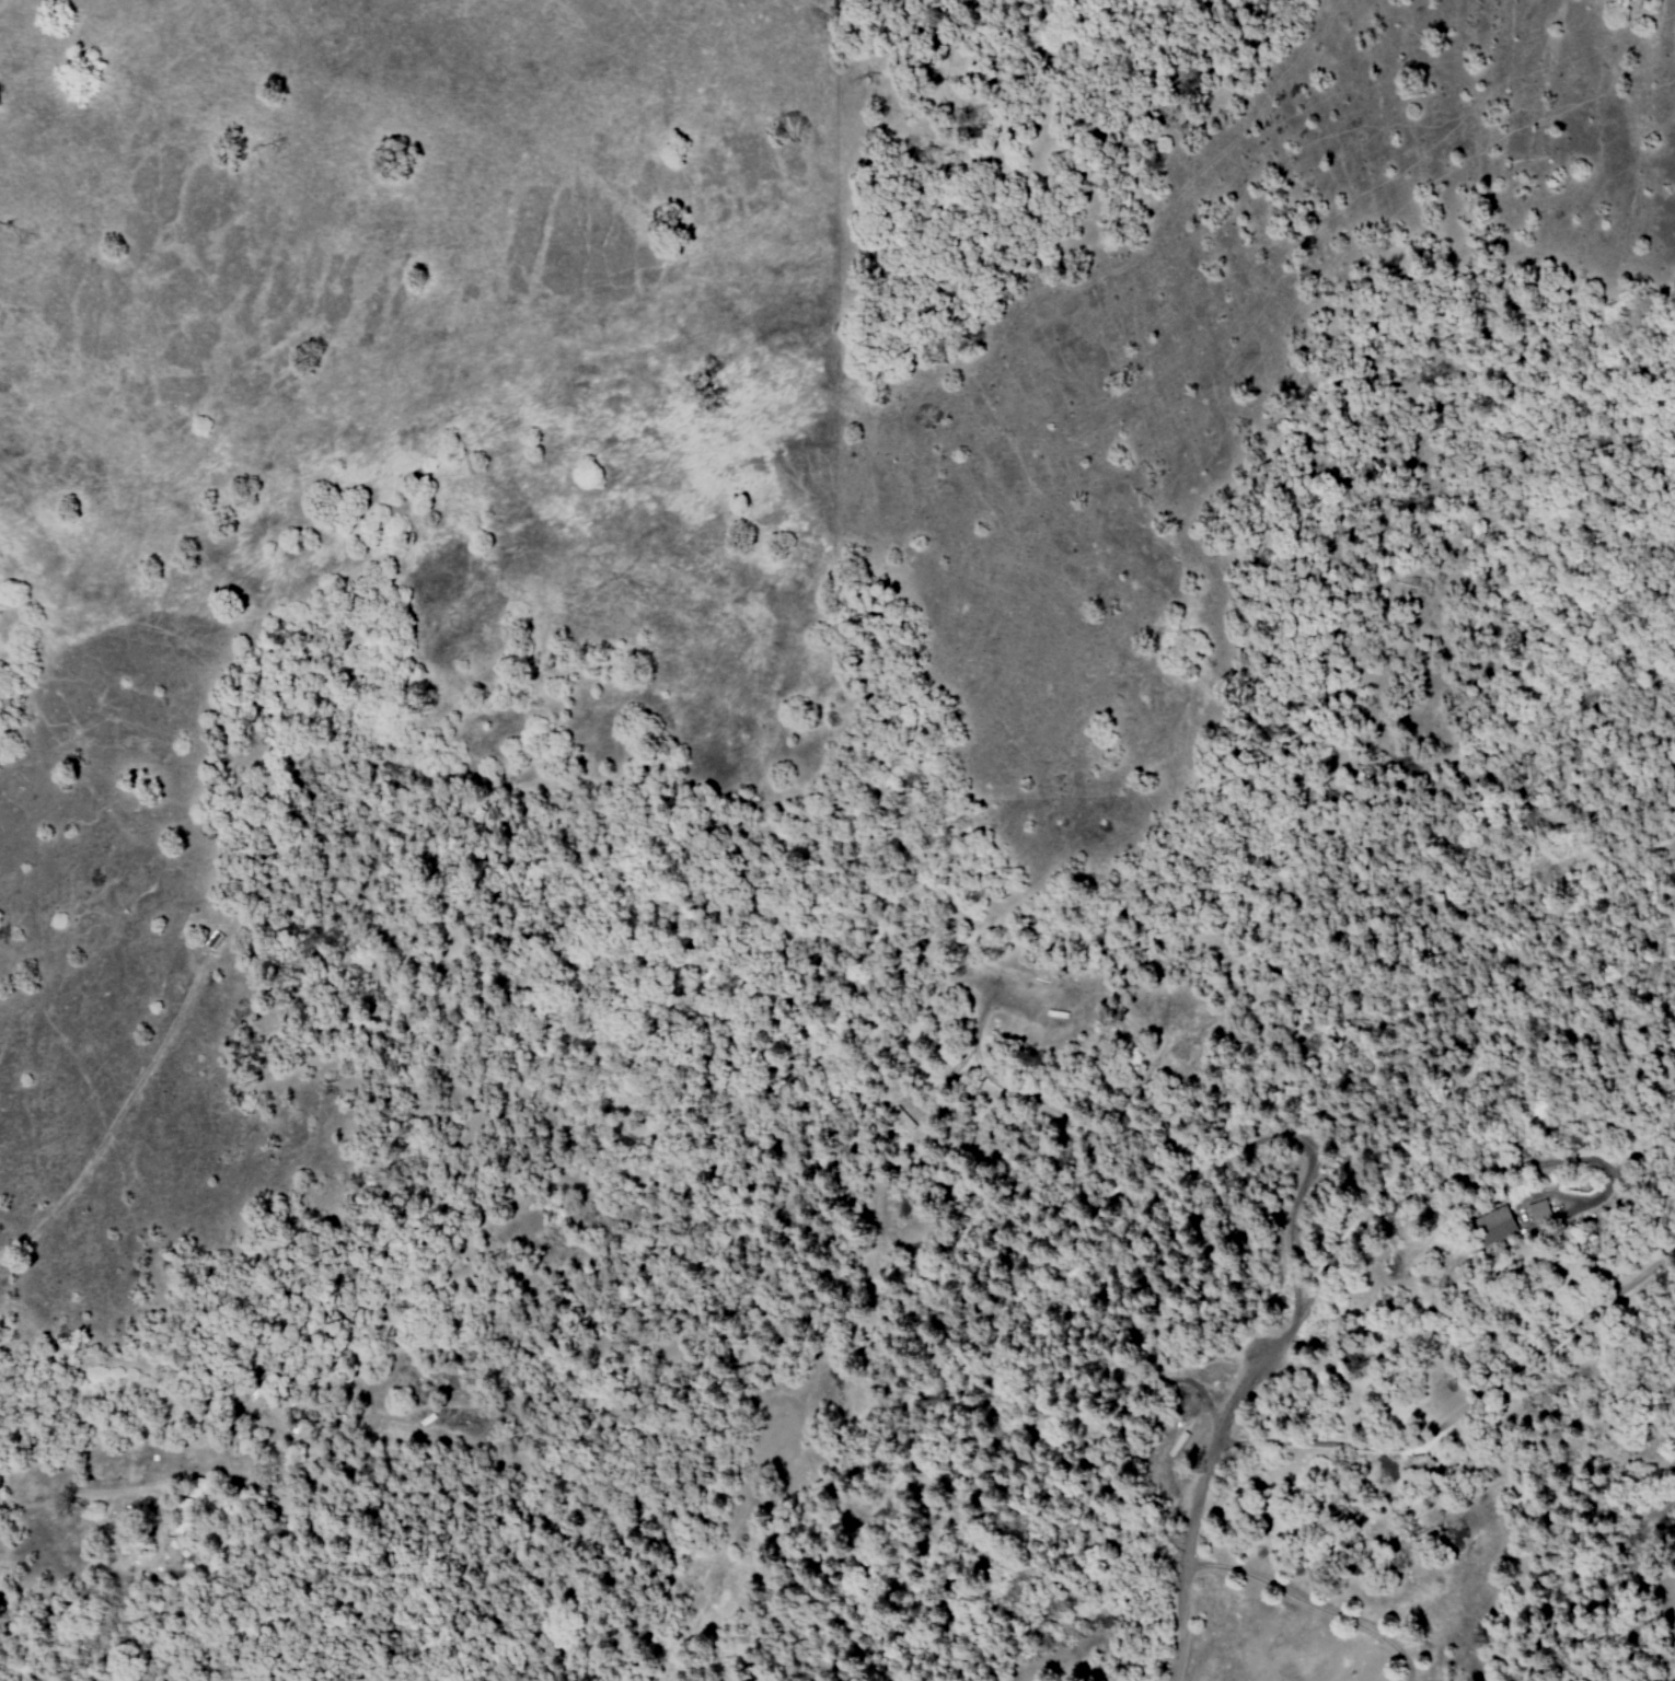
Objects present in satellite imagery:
building: (1493, 1227)
road: (1200, 1507)
building: (182, 1517)

